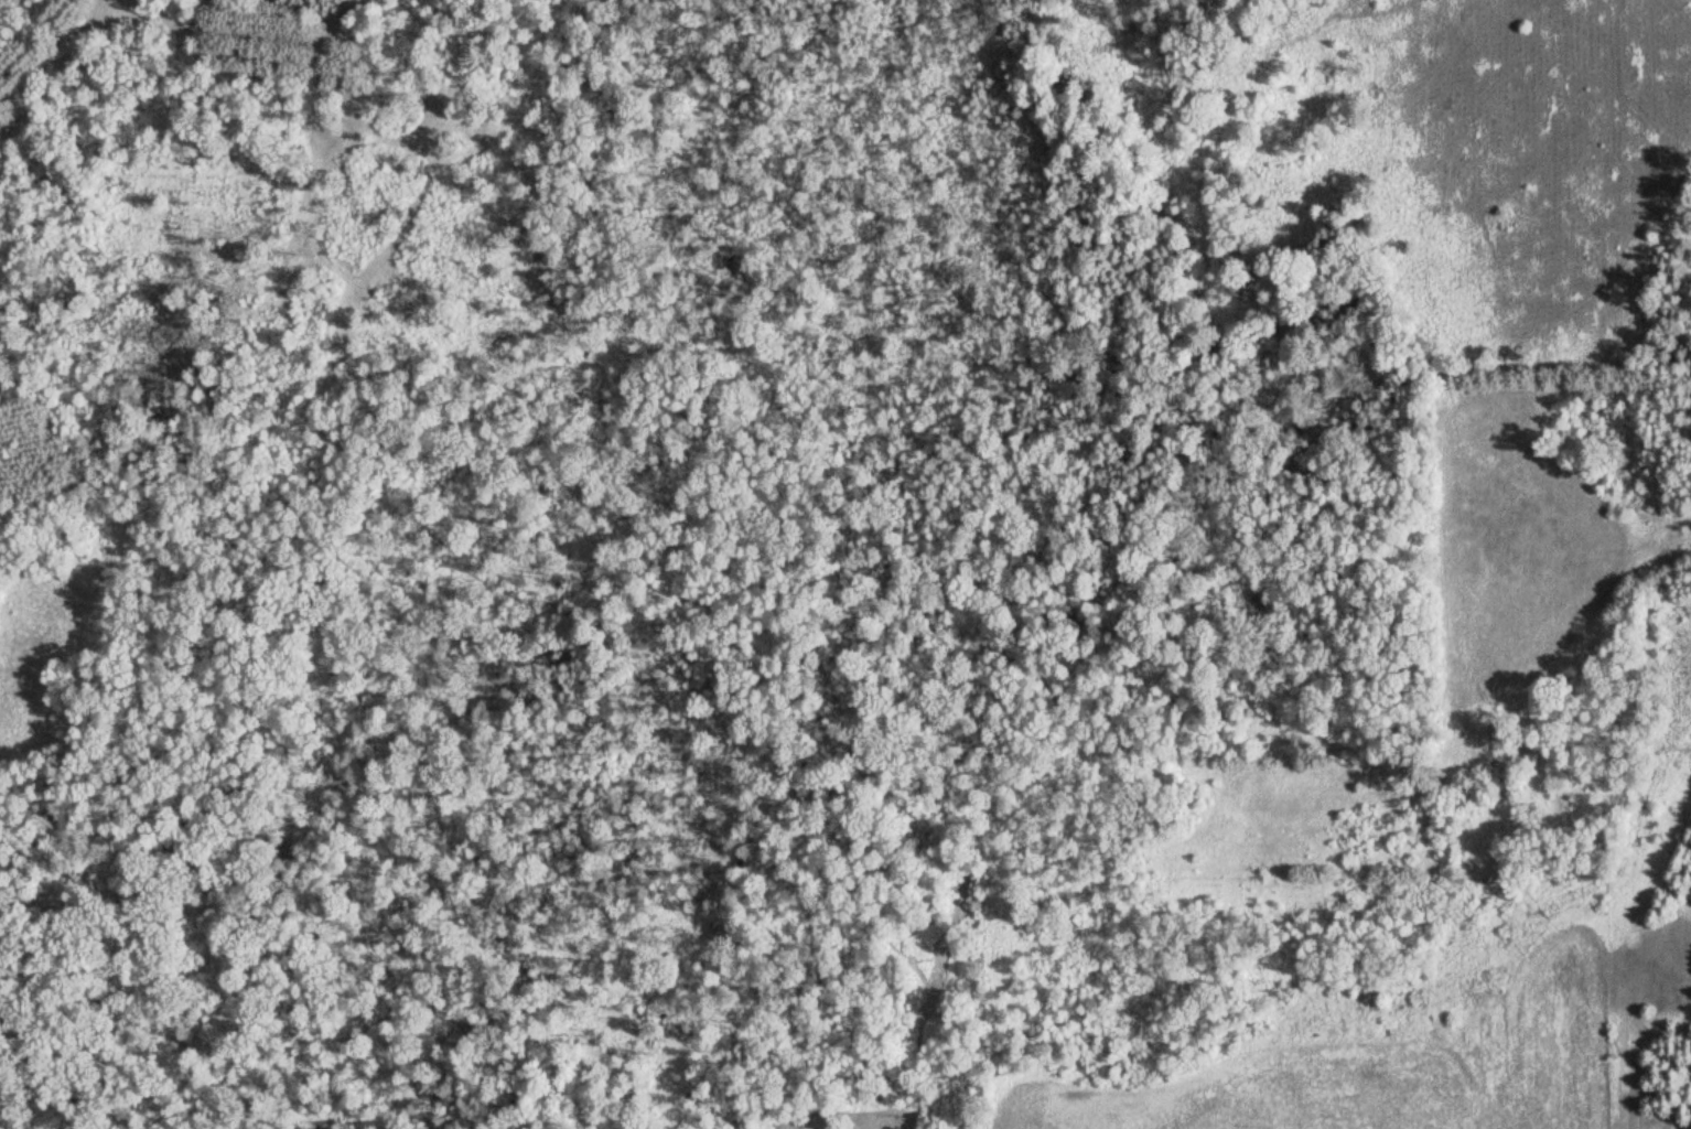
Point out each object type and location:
road: (83, 207)

